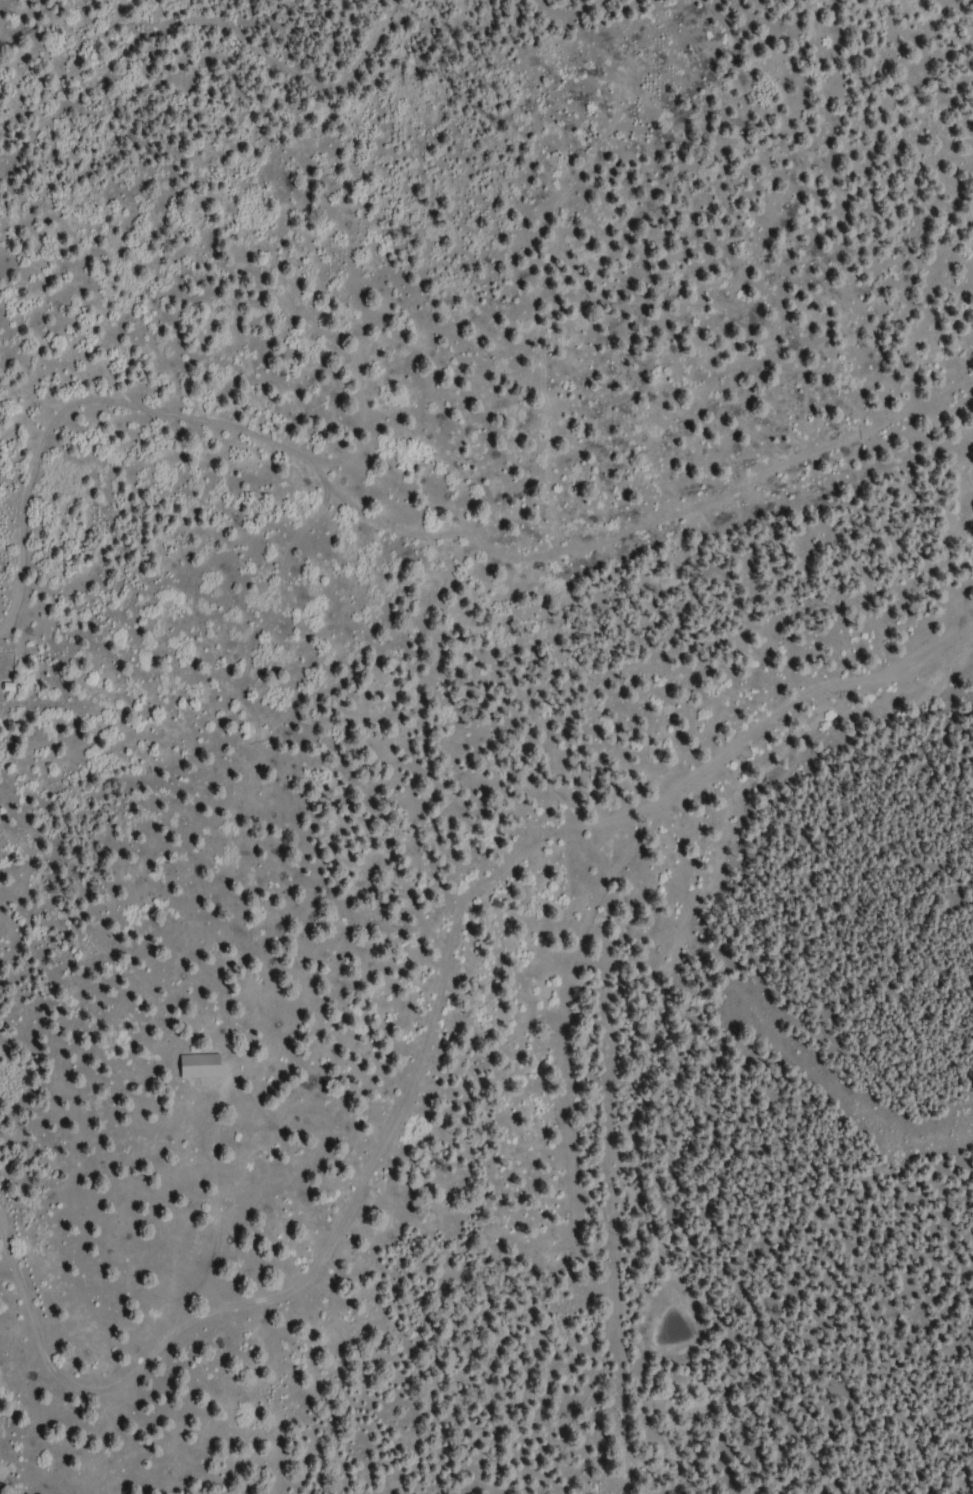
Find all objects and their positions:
building: (202, 1067)

